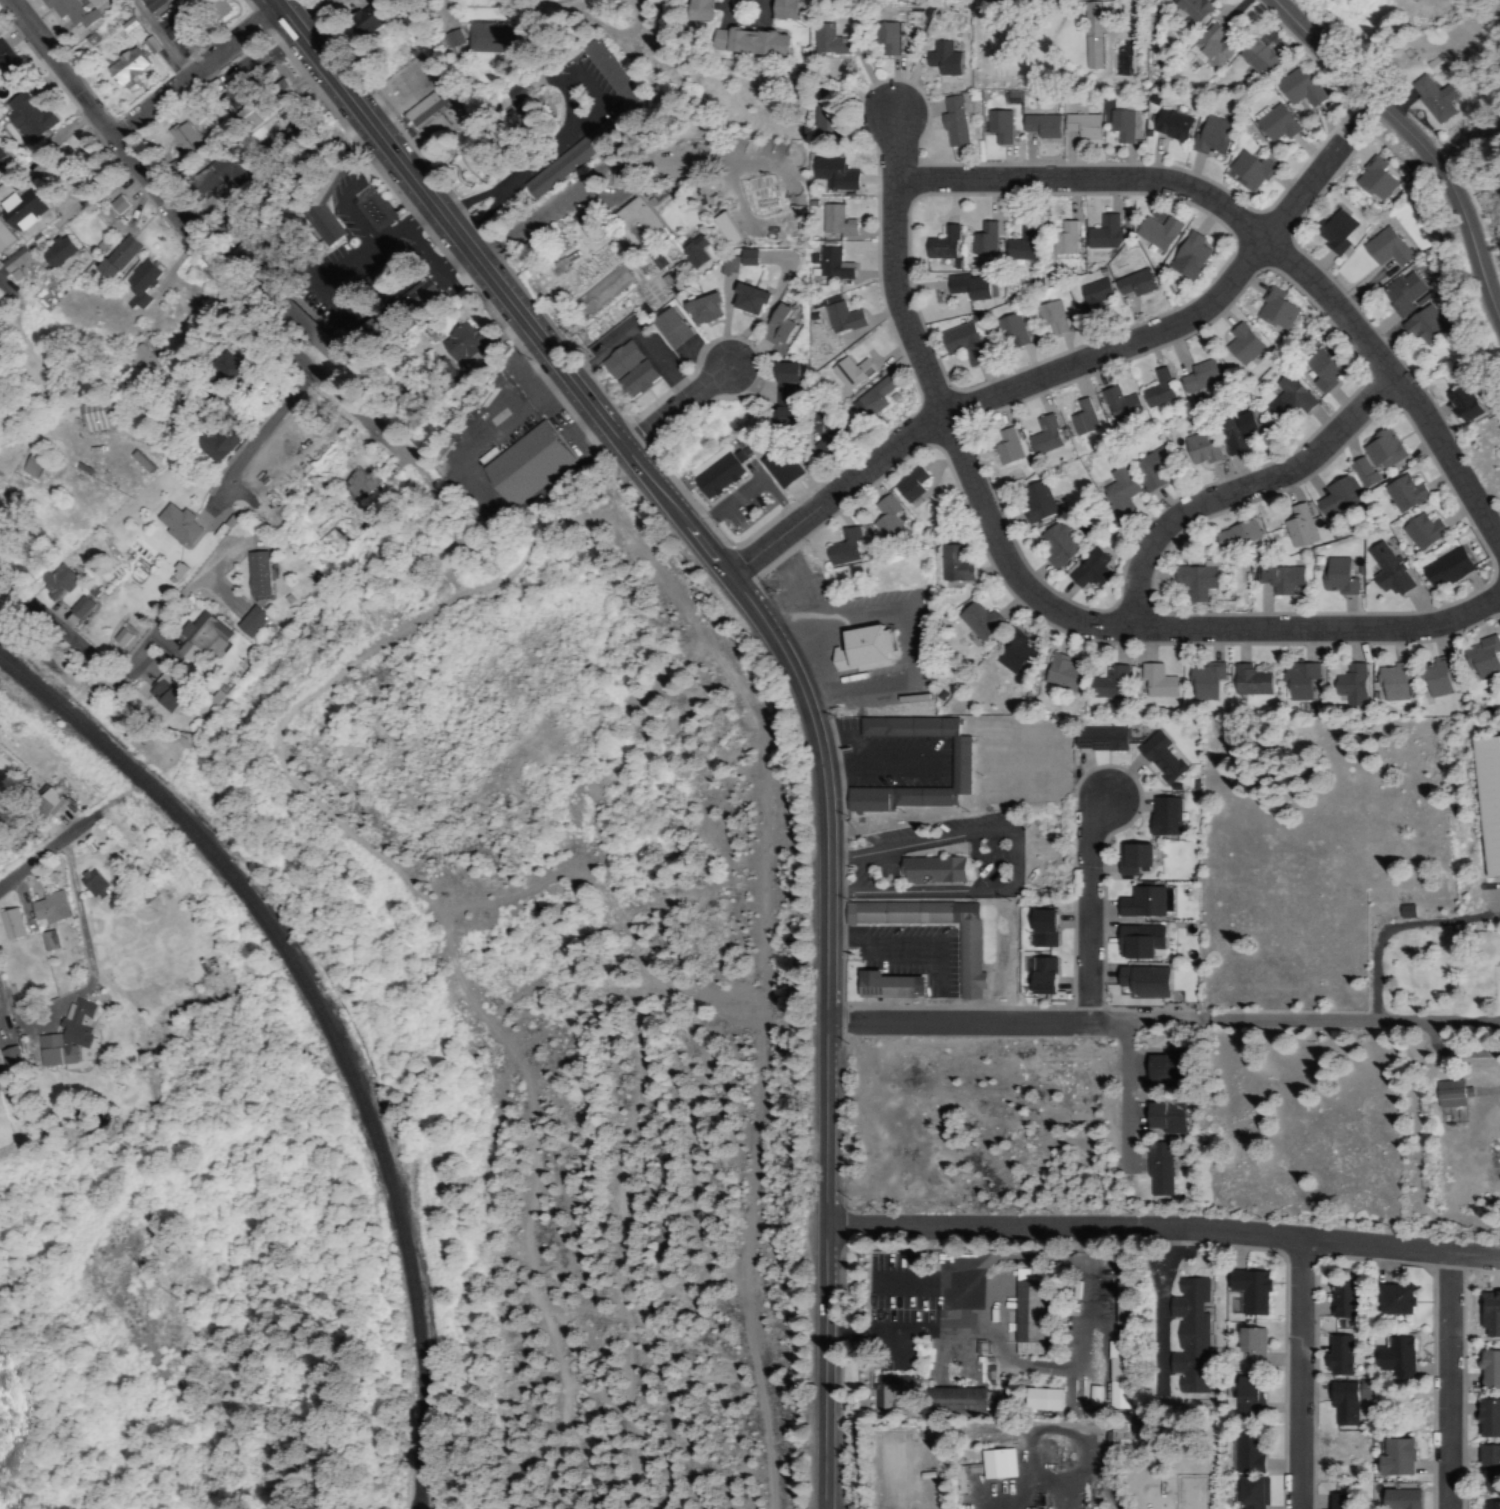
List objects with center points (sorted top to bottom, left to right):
building: (1029, 1)
building: (148, 3)
building: (701, 5)
building: (739, 5)
building: (193, 7)
building: (1198, 9)
building: (788, 10)
building: (67, 13)
building: (364, 21)
building: (169, 30)
building: (454, 39)
building: (486, 39)
building: (887, 40)
building: (1092, 41)
building: (826, 42)
building: (750, 43)
building: (1215, 45)
building: (941, 60)
building: (1258, 63)
building: (126, 67)
building: (9, 72)
road: (195, 74)
building: (281, 89)
building: (1298, 89)
building: (516, 94)
building: (1433, 98)
building: (252, 115)
building: (429, 119)
building: (27, 120)
building: (951, 124)
building: (1275, 124)
building: (1120, 125)
building: (1039, 126)
building: (1082, 126)
building: (1173, 126)
building: (996, 127)
building: (1214, 135)
building: (182, 141)
road: (1417, 143)
road: (888, 146)
building: (579, 149)
building: (1, 160)
building: (1245, 171)
building: (832, 173)
building: (210, 177)
building: (1370, 181)
building: (118, 205)
building: (20, 207)
building: (321, 211)
building: (831, 221)
building: (632, 223)
building: (727, 229)
road: (191, 231)
building: (1328, 231)
building: (1156, 234)
building: (1100, 236)
building: (5, 240)
building: (981, 240)
building: (1061, 240)
road: (1260, 240)
building: (939, 244)
building: (1019, 245)
building: (1376, 250)
building: (687, 251)
building: (57, 252)
building: (1186, 257)
building: (119, 258)
building: (747, 258)
building: (13, 263)
building: (564, 264)
building: (828, 264)
building: (728, 266)
building: (137, 284)
building: (1129, 285)
building: (968, 287)
building: (597, 288)
building: (1393, 294)
building: (421, 296)
building: (1089, 298)
building: (745, 300)
building: (701, 309)
building: (1267, 310)
building: (1045, 317)
building: (837, 319)
building: (774, 325)
building: (1414, 328)
building: (667, 329)
building: (1006, 331)
road: (63, 336)
building: (958, 343)
building: (1235, 344)
building: (461, 350)
building: (138, 360)
building: (224, 367)
building: (623, 368)
building: (1313, 369)
building: (846, 372)
road: (1048, 375)
building: (1191, 376)
building: (1150, 388)
building: (781, 393)
building: (1280, 397)
building: (870, 399)
building: (1455, 402)
building: (1112, 404)
road: (683, 407)
building: (92, 417)
building: (1075, 418)
building: (822, 427)
building: (1037, 436)
building: (1235, 436)
building: (216, 443)
building: (999, 445)
building: (1196, 449)
building: (1367, 457)
building: (141, 464)
building: (525, 464)
building: (28, 467)
building: (1146, 468)
building: (717, 477)
building: (361, 483)
building: (903, 484)
building: (1114, 484)
road: (593, 486)
road: (1242, 491)
building: (1398, 493)
building: (1332, 498)
building: (1027, 502)
building: (880, 521)
building: (177, 525)
building: (1292, 530)
building: (1418, 530)
building: (1229, 538)
building: (845, 544)
building: (1049, 546)
road: (1498, 547)
building: (948, 564)
building: (1443, 568)
building: (1086, 570)
building: (1383, 570)
building: (256, 574)
building: (1333, 576)
building: (1276, 579)
building: (54, 581)
building: (1190, 583)
road: (1046, 602)
building: (80, 607)
building: (250, 622)
building: (975, 622)
road: (54, 628)
building: (198, 636)
building: (121, 637)
building: (862, 649)
building: (1012, 656)
building: (1479, 660)
road: (785, 666)
building: (1061, 674)
building: (1433, 677)
building: (1248, 681)
building: (1154, 682)
building: (1204, 682)
building: (1298, 682)
building: (1109, 683)
building: (1392, 683)
building: (1349, 685)
building: (165, 693)
building: (1098, 739)
building: (1157, 757)
building: (958, 762)
building: (45, 800)
building: (1490, 800)
building: (1161, 817)
road: (46, 849)
building: (1136, 858)
building: (930, 871)
building: (93, 883)
building: (1138, 903)
building: (50, 908)
road: (1084, 914)
building: (11, 924)
building: (1045, 930)
building: (49, 941)
building: (1137, 942)
building: (964, 961)
building: (1043, 976)
building: (1142, 981)
building: (889, 986)
road: (1345, 1021)
road: (1007, 1025)
railway: (326, 1028)
building: (66, 1037)
building: (9, 1057)
building: (1161, 1066)
building: (1455, 1094)
building: (1166, 1116)
building: (1158, 1170)
road: (1162, 1229)
building: (1251, 1291)
building: (1399, 1300)
building: (1344, 1301)
building: (1023, 1312)
building: (1186, 1336)
building: (1251, 1350)
building: (1339, 1355)
building: (1400, 1358)
building: (1116, 1361)
building: (1490, 1370)
road: (1307, 1374)
road: (1457, 1382)
building: (890, 1390)
building: (1095, 1396)
building: (1107, 1397)
building: (1248, 1397)
building: (955, 1400)
building: (1045, 1400)
building: (1341, 1404)
building: (1490, 1419)
building: (1118, 1437)
building: (1252, 1452)
building: (1399, 1457)
building: (1491, 1461)
building: (999, 1464)
road: (1112, 1478)
building: (1256, 1493)
building: (1404, 1499)
building: (1338, 1501)
road: (829, 1502)
building: (1492, 1505)

